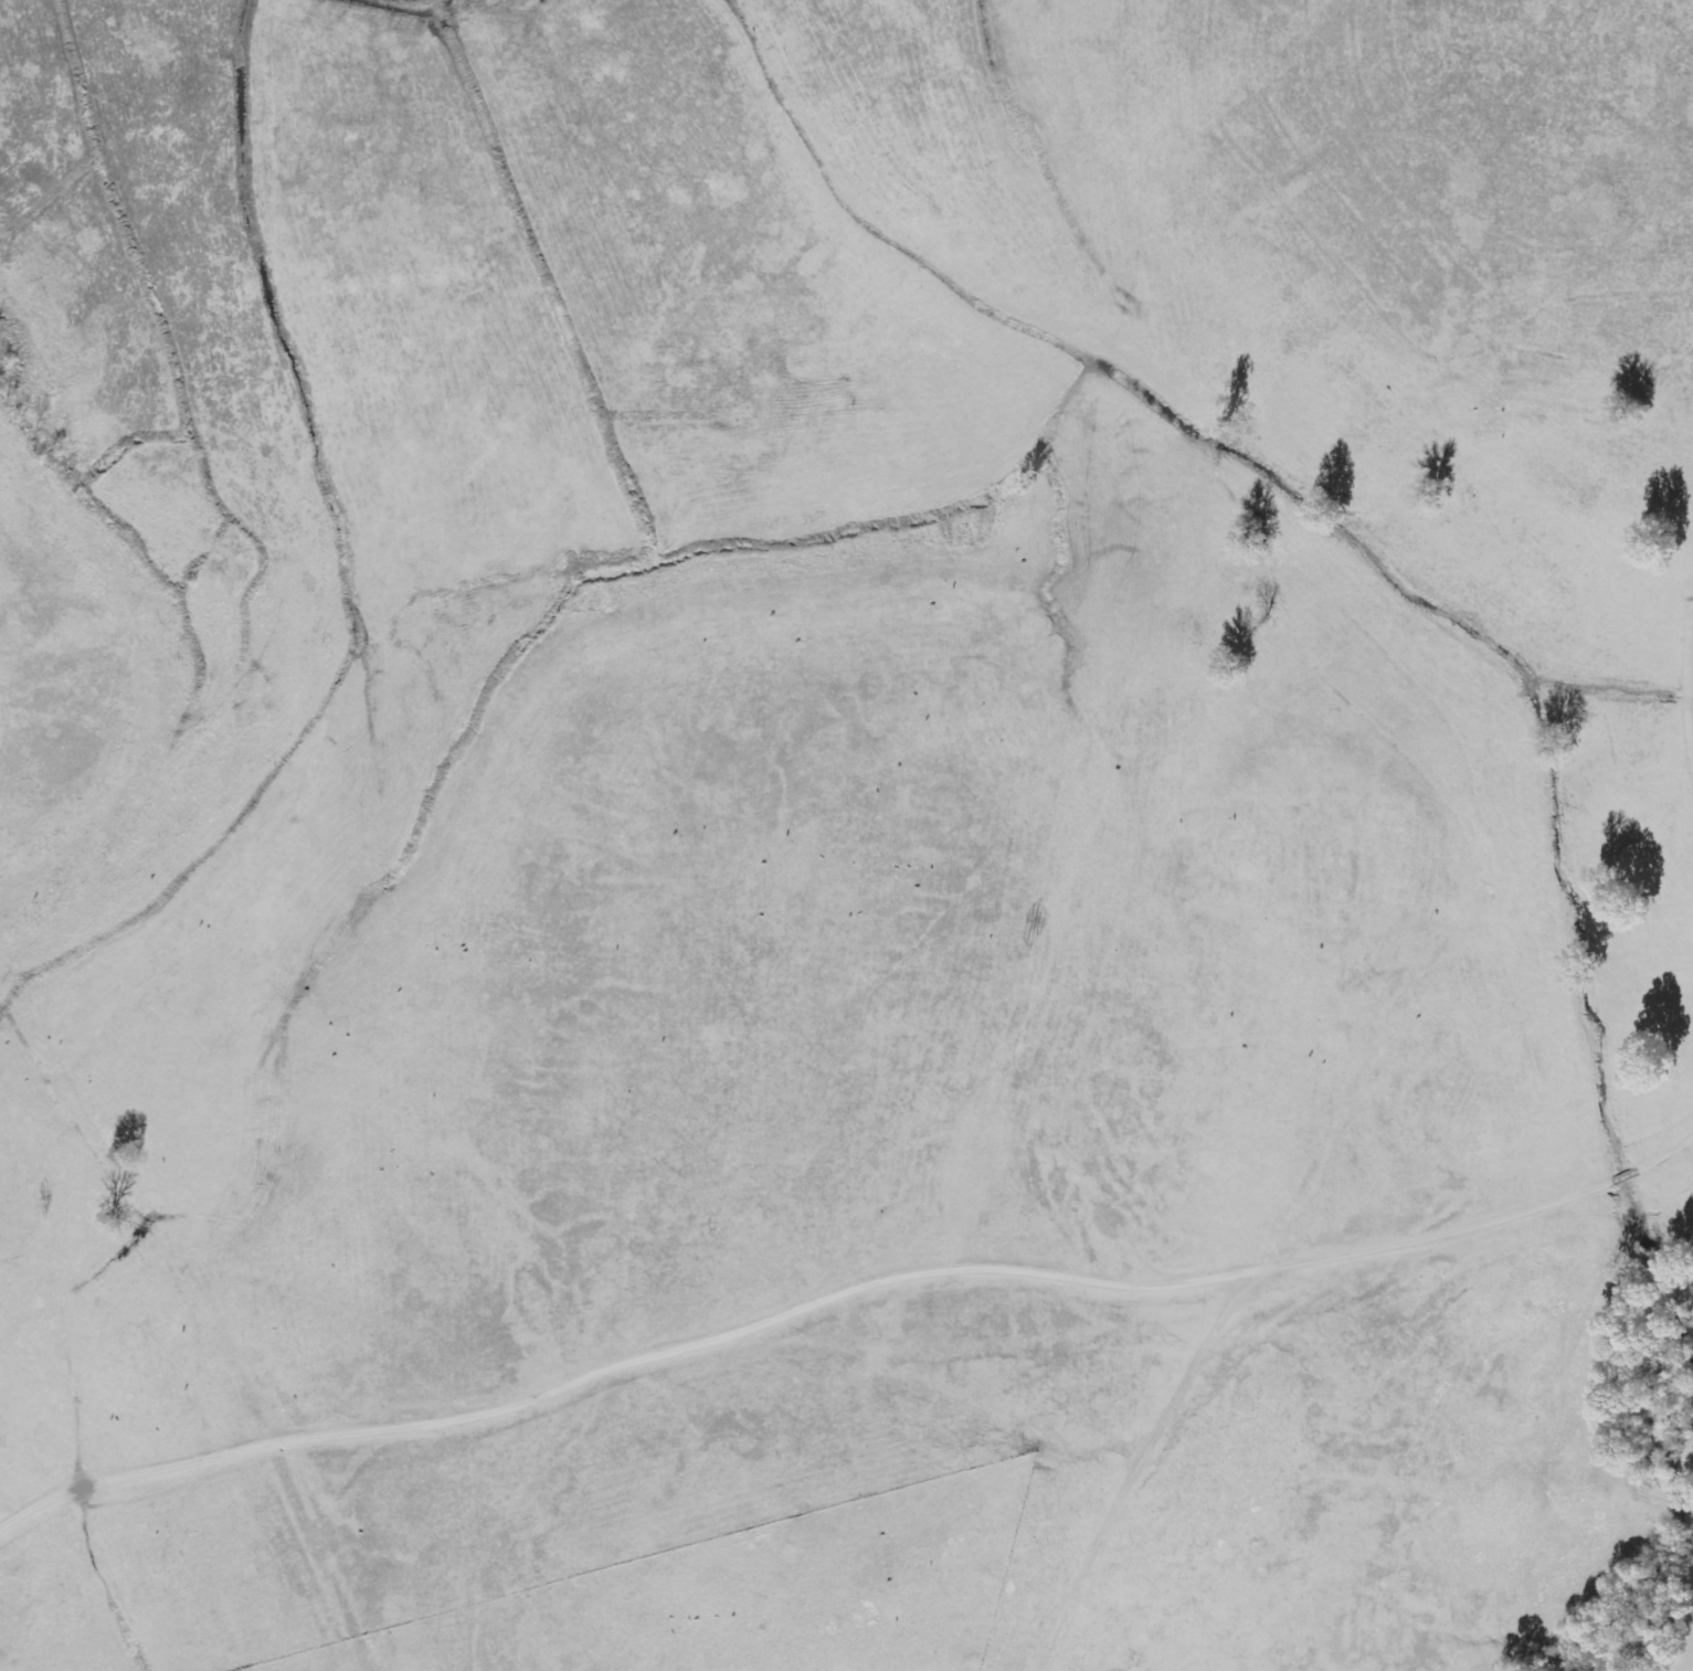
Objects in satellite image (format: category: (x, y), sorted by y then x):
road: (836, 1283)

